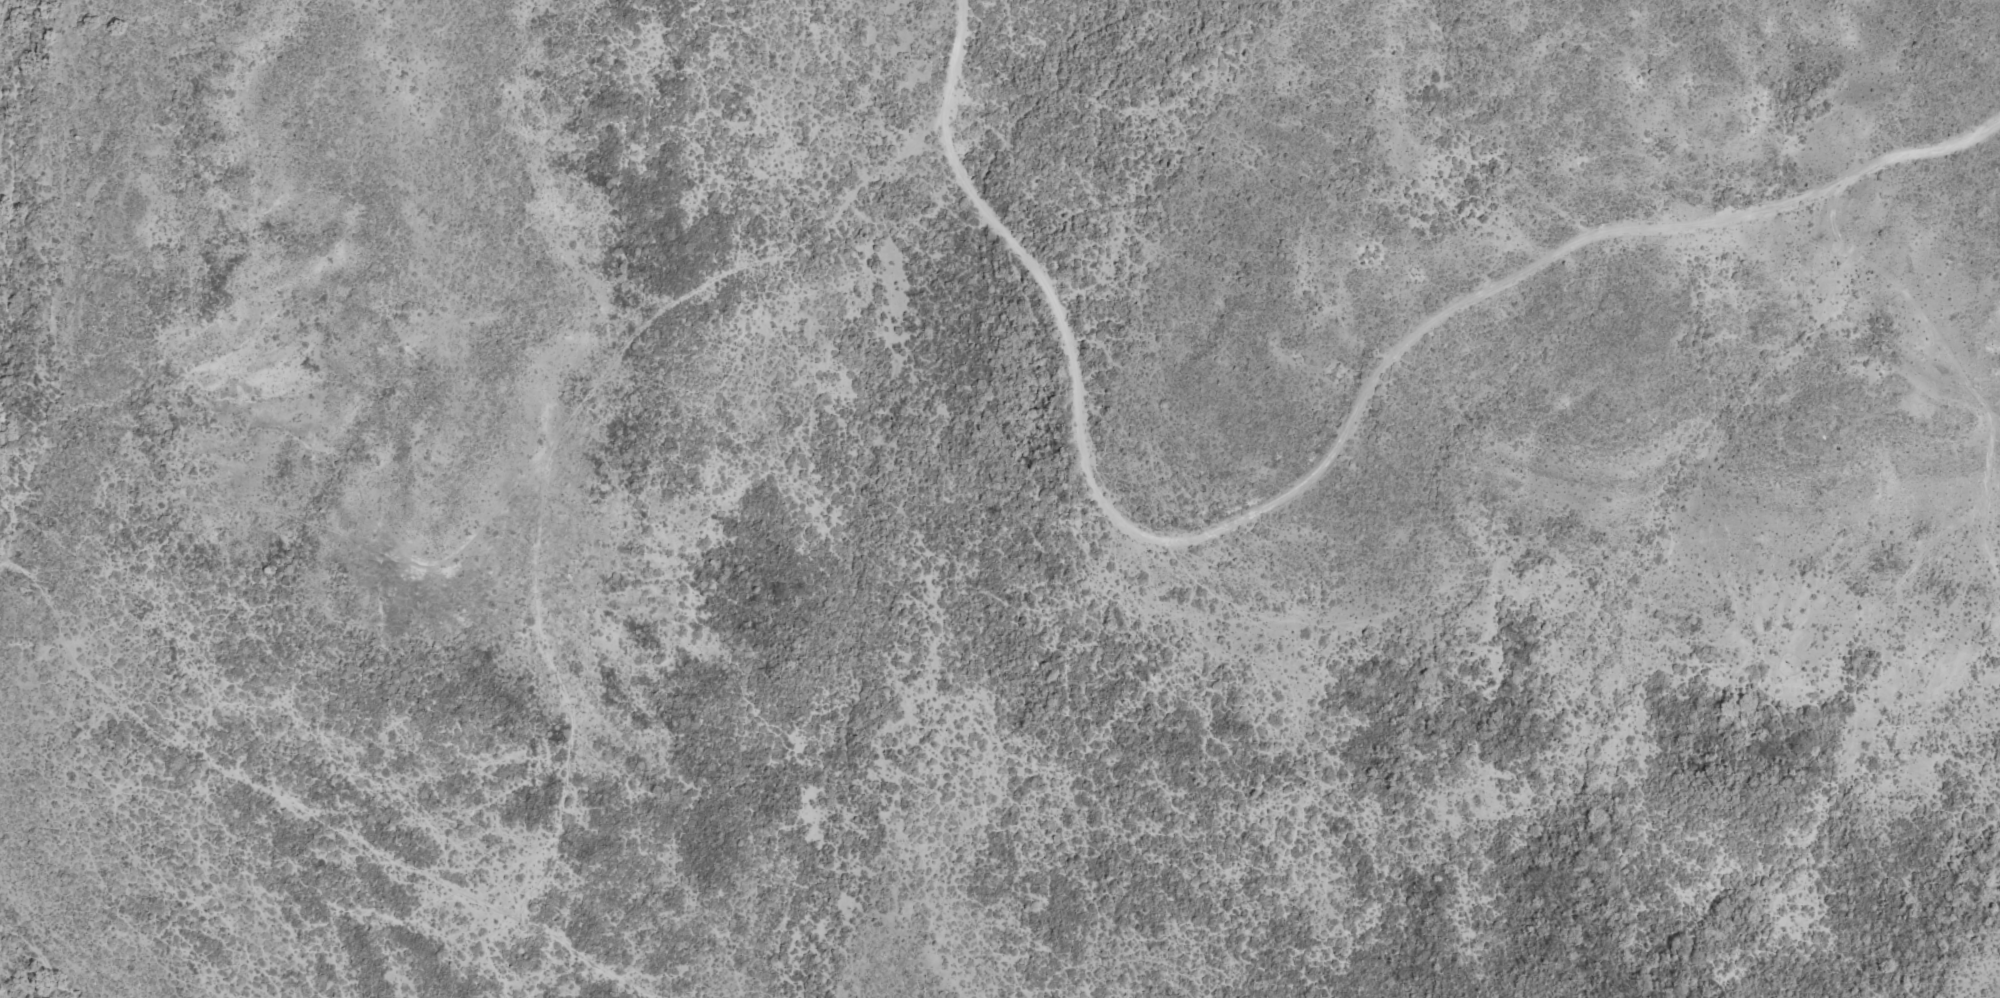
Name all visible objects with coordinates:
road: (1321, 468)

